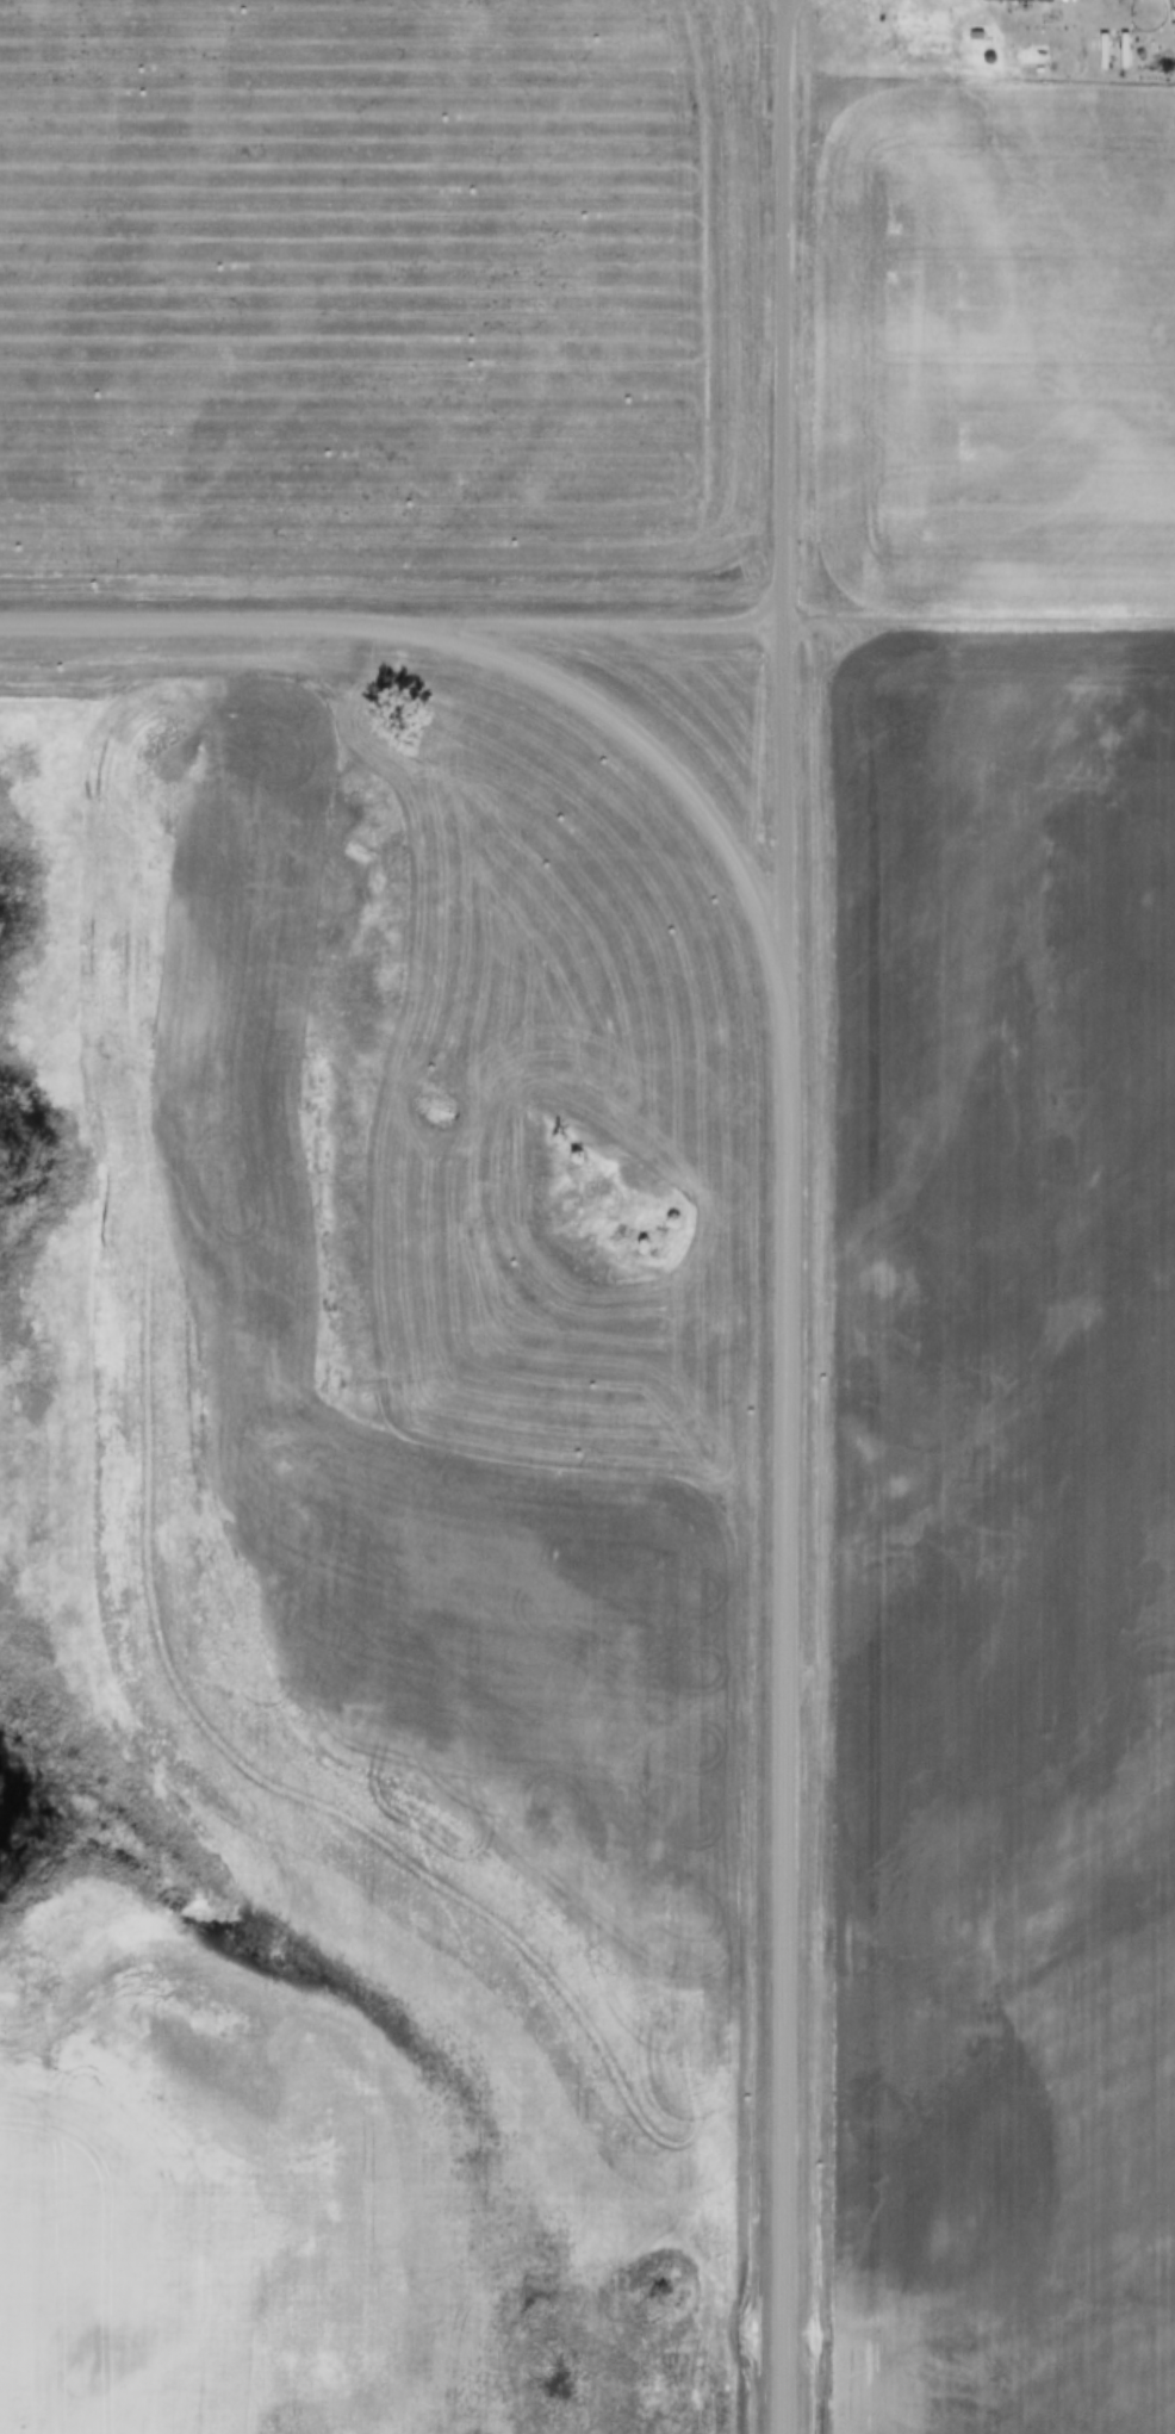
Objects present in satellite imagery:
building: (878, 5)
building: (1055, 15)
road: (784, 484)
road: (980, 620)
road: (583, 623)
road: (191, 626)
road: (636, 734)
road: (785, 1701)

